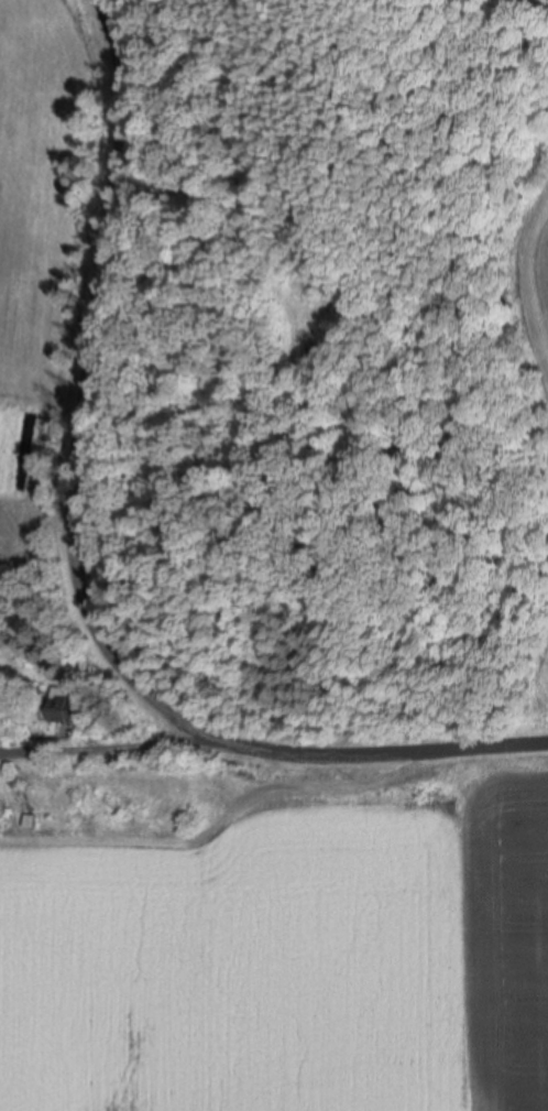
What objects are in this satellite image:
crop: (51, 248)
crop: (538, 266)
road: (65, 559)
building: (65, 704)
crop: (546, 728)
road: (97, 734)
crop: (285, 959)

